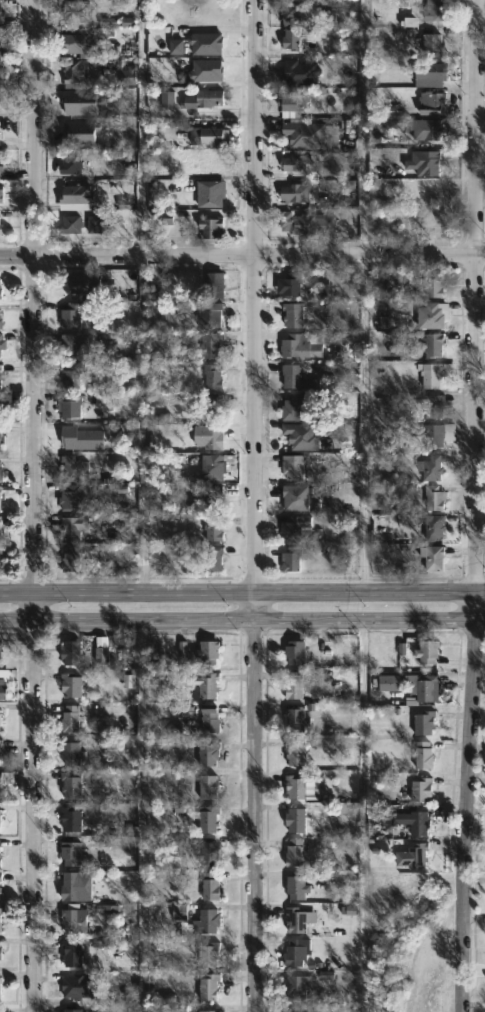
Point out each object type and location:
building: (438, 10)
building: (75, 13)
building: (295, 13)
building: (2, 14)
building: (84, 39)
building: (293, 39)
building: (435, 44)
building: (1, 45)
building: (0, 68)
building: (76, 71)
building: (433, 71)
building: (201, 99)
building: (292, 100)
building: (429, 103)
road: (142, 128)
building: (427, 129)
building: (302, 135)
building: (212, 136)
building: (0, 141)
building: (294, 162)
building: (431, 163)
building: (2, 165)
building: (69, 166)
building: (209, 194)
building: (294, 194)
building: (0, 195)
building: (74, 198)
building: (309, 223)
building: (94, 225)
building: (1, 228)
building: (213, 228)
building: (68, 229)
road: (242, 255)
building: (437, 284)
building: (73, 285)
building: (216, 285)
building: (293, 285)
building: (0, 292)
building: (72, 313)
building: (211, 314)
building: (296, 314)
building: (432, 316)
building: (1, 317)
building: (71, 344)
building: (436, 345)
building: (212, 346)
building: (1, 347)
building: (301, 347)
building: (1, 374)
building: (438, 375)
building: (293, 376)
building: (73, 377)
building: (214, 377)
building: (3, 399)
building: (432, 405)
building: (72, 406)
building: (213, 406)
building: (293, 407)
road: (364, 422)
road: (141, 423)
building: (1, 429)
building: (430, 433)
building: (303, 436)
building: (214, 437)
building: (212, 465)
building: (73, 467)
building: (294, 468)
building: (434, 468)
building: (1, 469)
building: (73, 496)
building: (435, 497)
building: (215, 498)
building: (298, 498)
building: (0, 499)
road: (255, 505)
road: (31, 506)
road: (472, 506)
building: (0, 522)
building: (70, 527)
building: (295, 527)
building: (434, 528)
building: (214, 529)
building: (0, 549)
building: (432, 556)
building: (69, 557)
building: (211, 559)
building: (294, 560)
road: (242, 590)
road: (242, 617)
building: (205, 651)
building: (425, 651)
building: (69, 652)
building: (293, 652)
building: (102, 656)
building: (4, 674)
building: (70, 684)
building: (389, 684)
building: (206, 685)
building: (292, 685)
building: (420, 686)
building: (0, 690)
building: (207, 718)
building: (295, 718)
building: (69, 719)
building: (0, 722)
building: (423, 722)
building: (0, 742)
building: (293, 752)
building: (70, 753)
building: (207, 753)
building: (422, 755)
building: (69, 784)
building: (206, 786)
building: (293, 786)
building: (0, 789)
building: (420, 789)
road: (143, 814)
building: (70, 818)
building: (207, 819)
building: (293, 821)
building: (0, 822)
building: (417, 822)
building: (0, 852)
building: (292, 853)
building: (69, 854)
building: (206, 854)
building: (412, 856)
building: (0, 877)
building: (208, 886)
building: (294, 887)
building: (73, 888)
building: (0, 890)
building: (0, 912)
building: (74, 920)
building: (294, 920)
building: (205, 921)
building: (70, 953)
building: (294, 953)
building: (208, 955)
building: (0, 957)
building: (76, 985)
building: (207, 986)
building: (294, 987)
building: (0, 991)
building: (70, 1010)
building: (208, 1010)
building: (291, 1010)

